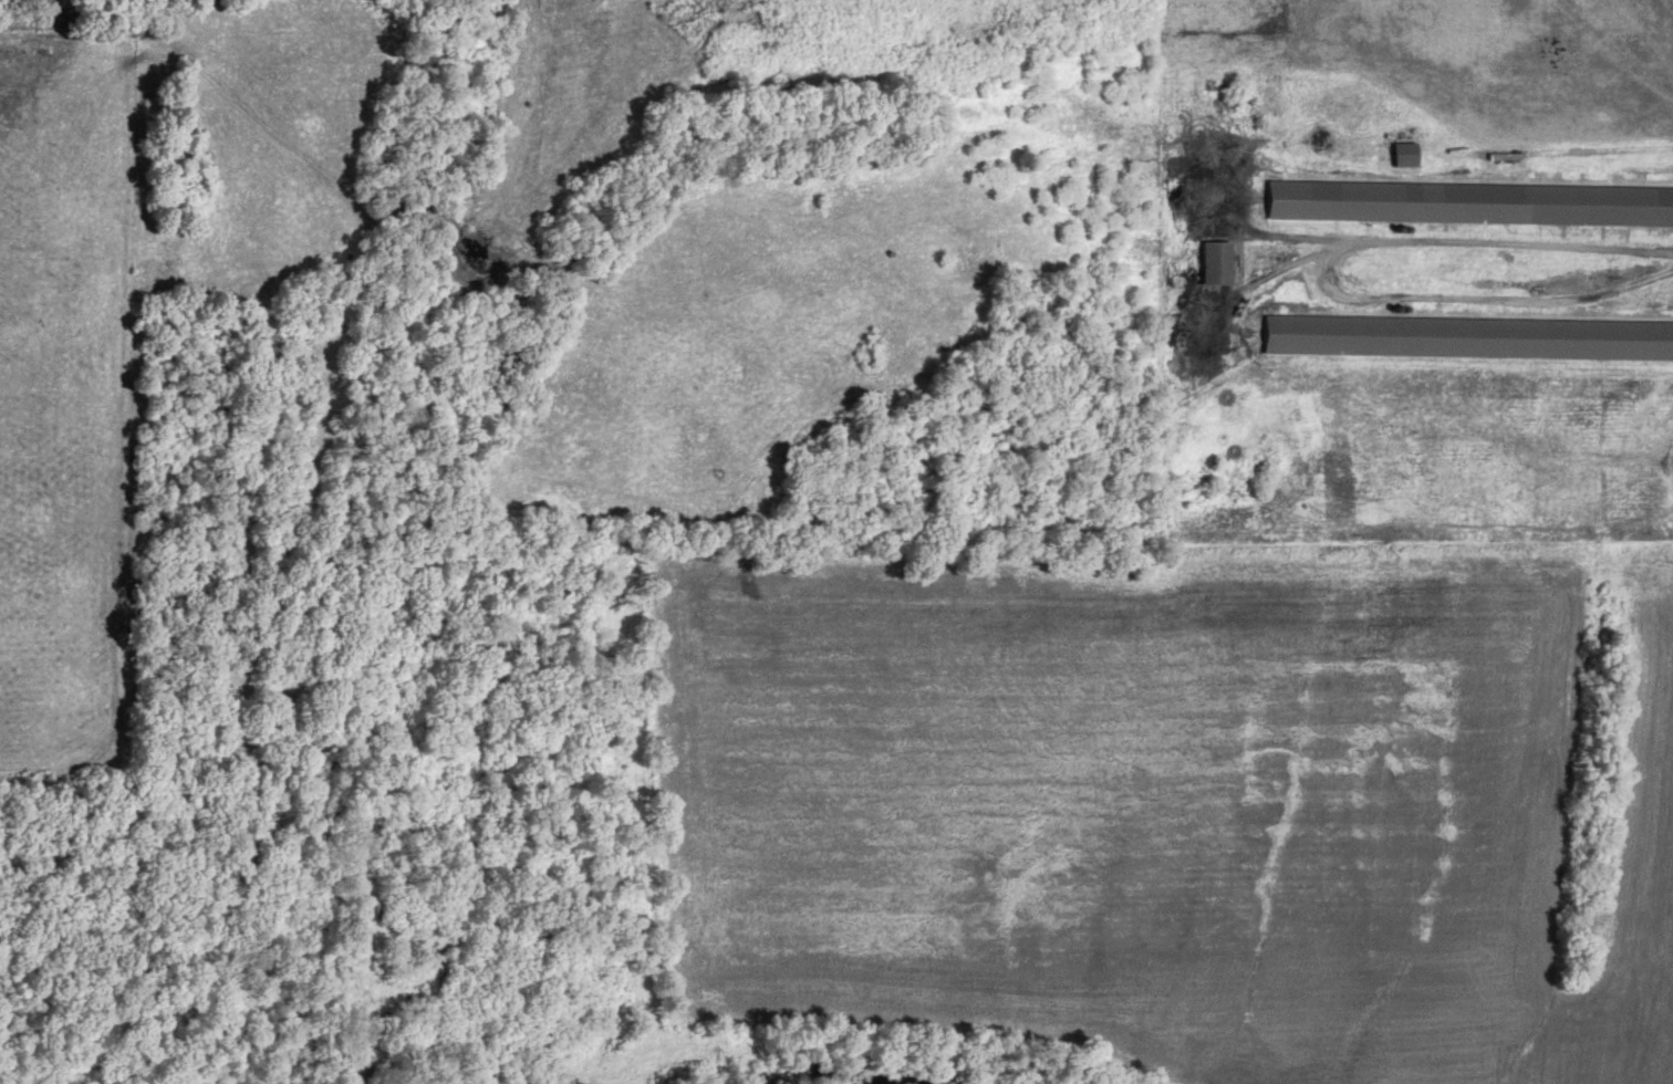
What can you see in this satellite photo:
building: (1407, 150)
building: (1472, 199)
building: (1219, 260)
building: (1469, 333)

